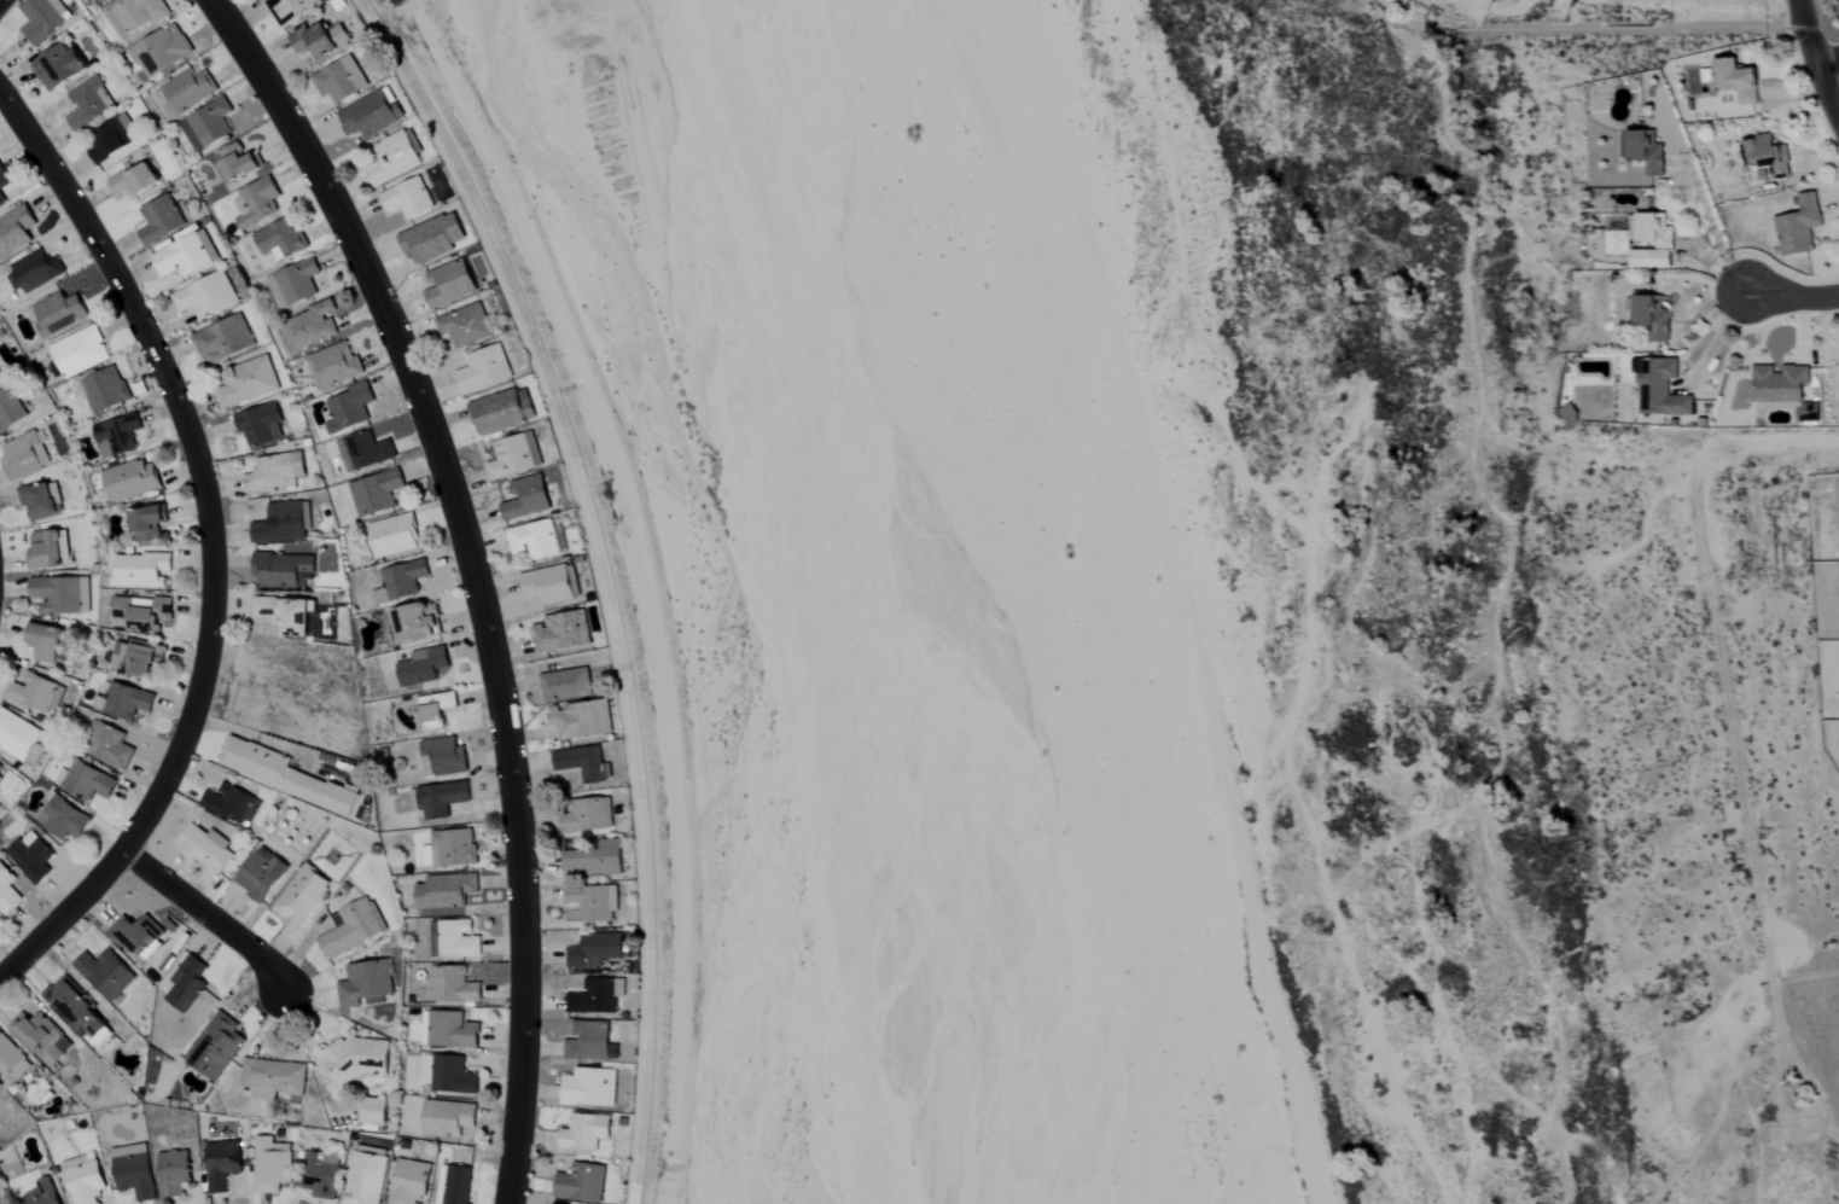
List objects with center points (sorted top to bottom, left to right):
building: (100, 0)
building: (290, 10)
building: (136, 13)
building: (42, 19)
road: (1637, 29)
building: (319, 40)
building: (159, 51)
road: (1815, 56)
road: (1829, 64)
building: (59, 68)
building: (1709, 76)
building: (338, 80)
building: (1739, 81)
building: (182, 92)
building: (88, 104)
building: (369, 115)
building: (206, 126)
building: (110, 139)
building: (1646, 152)
building: (1768, 156)
building: (391, 158)
building: (238, 162)
building: (4, 179)
building: (135, 181)
building: (1, 199)
building: (407, 199)
building: (255, 203)
building: (161, 220)
building: (1799, 227)
road: (1712, 228)
building: (16, 231)
building: (432, 239)
building: (279, 240)
building: (1654, 243)
building: (186, 256)
building: (34, 272)
building: (296, 281)
building: (448, 284)
building: (206, 297)
road: (1792, 297)
building: (1653, 319)
building: (464, 326)
building: (308, 327)
building: (223, 339)
building: (80, 351)
building: (332, 366)
building: (483, 370)
building: (0, 379)
building: (248, 383)
building: (1781, 384)
building: (1659, 388)
building: (104, 390)
building: (348, 408)
building: (10, 409)
building: (1798, 409)
building: (501, 411)
building: (1570, 414)
building: (260, 425)
building: (117, 436)
building: (363, 452)
building: (24, 456)
building: (513, 456)
building: (274, 472)
building: (132, 481)
building: (374, 493)
building: (526, 498)
building: (39, 501)
building: (283, 523)
building: (147, 524)
building: (392, 536)
building: (533, 540)
building: (559, 540)
road: (206, 542)
building: (50, 551)
building: (140, 570)
building: (284, 571)
road: (475, 574)
road: (603, 577)
building: (400, 582)
river: (996, 582)
building: (549, 584)
building: (62, 595)
building: (142, 612)
building: (287, 615)
building: (415, 624)
building: (560, 633)
building: (45, 644)
building: (134, 661)
building: (423, 667)
building: (565, 685)
building: (36, 694)
building: (123, 702)
building: (436, 710)
building: (580, 720)
building: (19, 738)
building: (110, 748)
building: (442, 757)
building: (583, 763)
building: (1, 769)
building: (283, 777)
building: (86, 781)
building: (441, 799)
building: (231, 804)
building: (586, 815)
building: (63, 820)
building: (206, 849)
building: (449, 849)
building: (31, 860)
building: (595, 861)
building: (261, 876)
building: (7, 891)
building: (446, 891)
building: (299, 897)
building: (594, 902)
road: (211, 920)
building: (353, 929)
building: (135, 933)
building: (458, 940)
building: (595, 950)
building: (105, 973)
building: (186, 983)
building: (365, 984)
building: (454, 985)
building: (596, 996)
building: (76, 1008)
building: (452, 1030)
building: (41, 1036)
building: (590, 1042)
building: (215, 1046)
building: (354, 1060)
building: (11, 1063)
building: (452, 1075)
building: (272, 1077)
building: (589, 1087)
building: (373, 1112)
building: (447, 1117)
building: (584, 1132)
building: (222, 1164)
building: (270, 1164)
building: (134, 1171)
building: (174, 1173)
building: (320, 1174)
building: (367, 1174)
building: (83, 1179)
building: (411, 1182)
building: (581, 1182)
building: (458, 1185)
building: (41, 1193)

